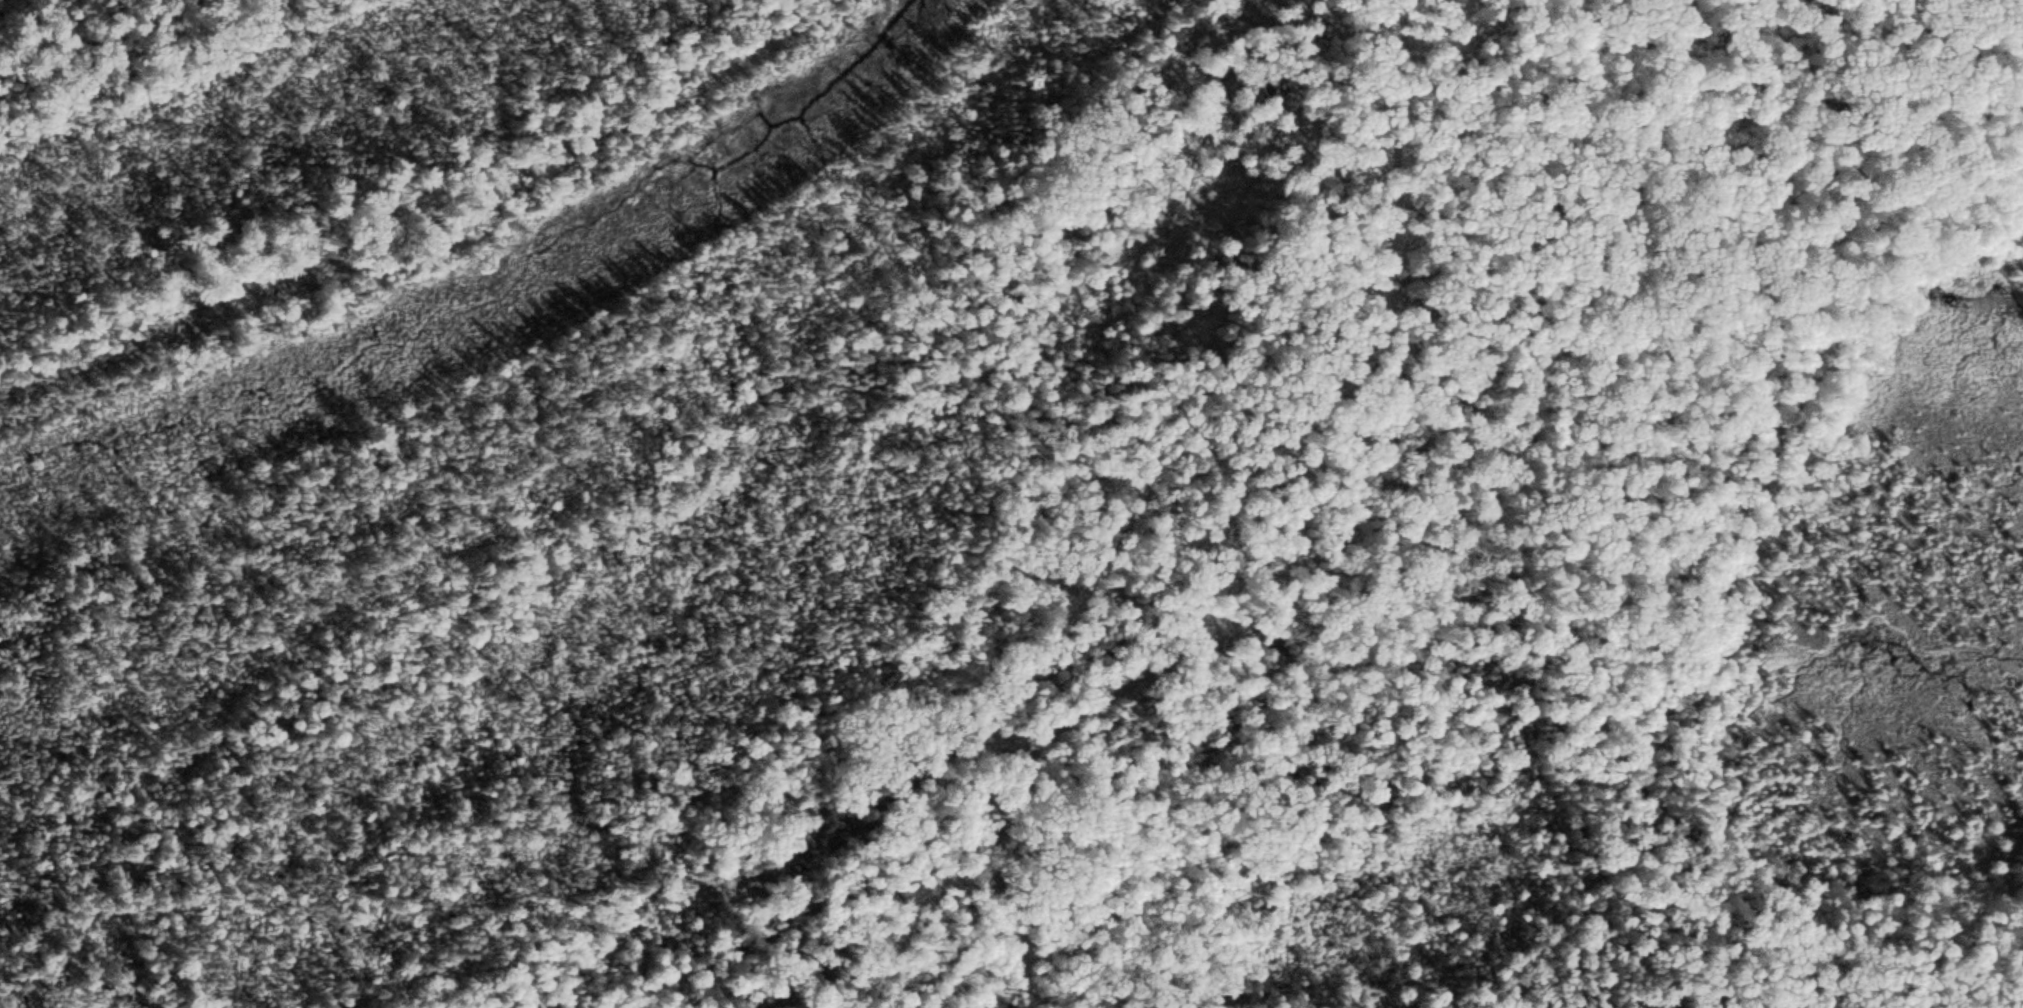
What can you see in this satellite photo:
road: (1013, 964)

